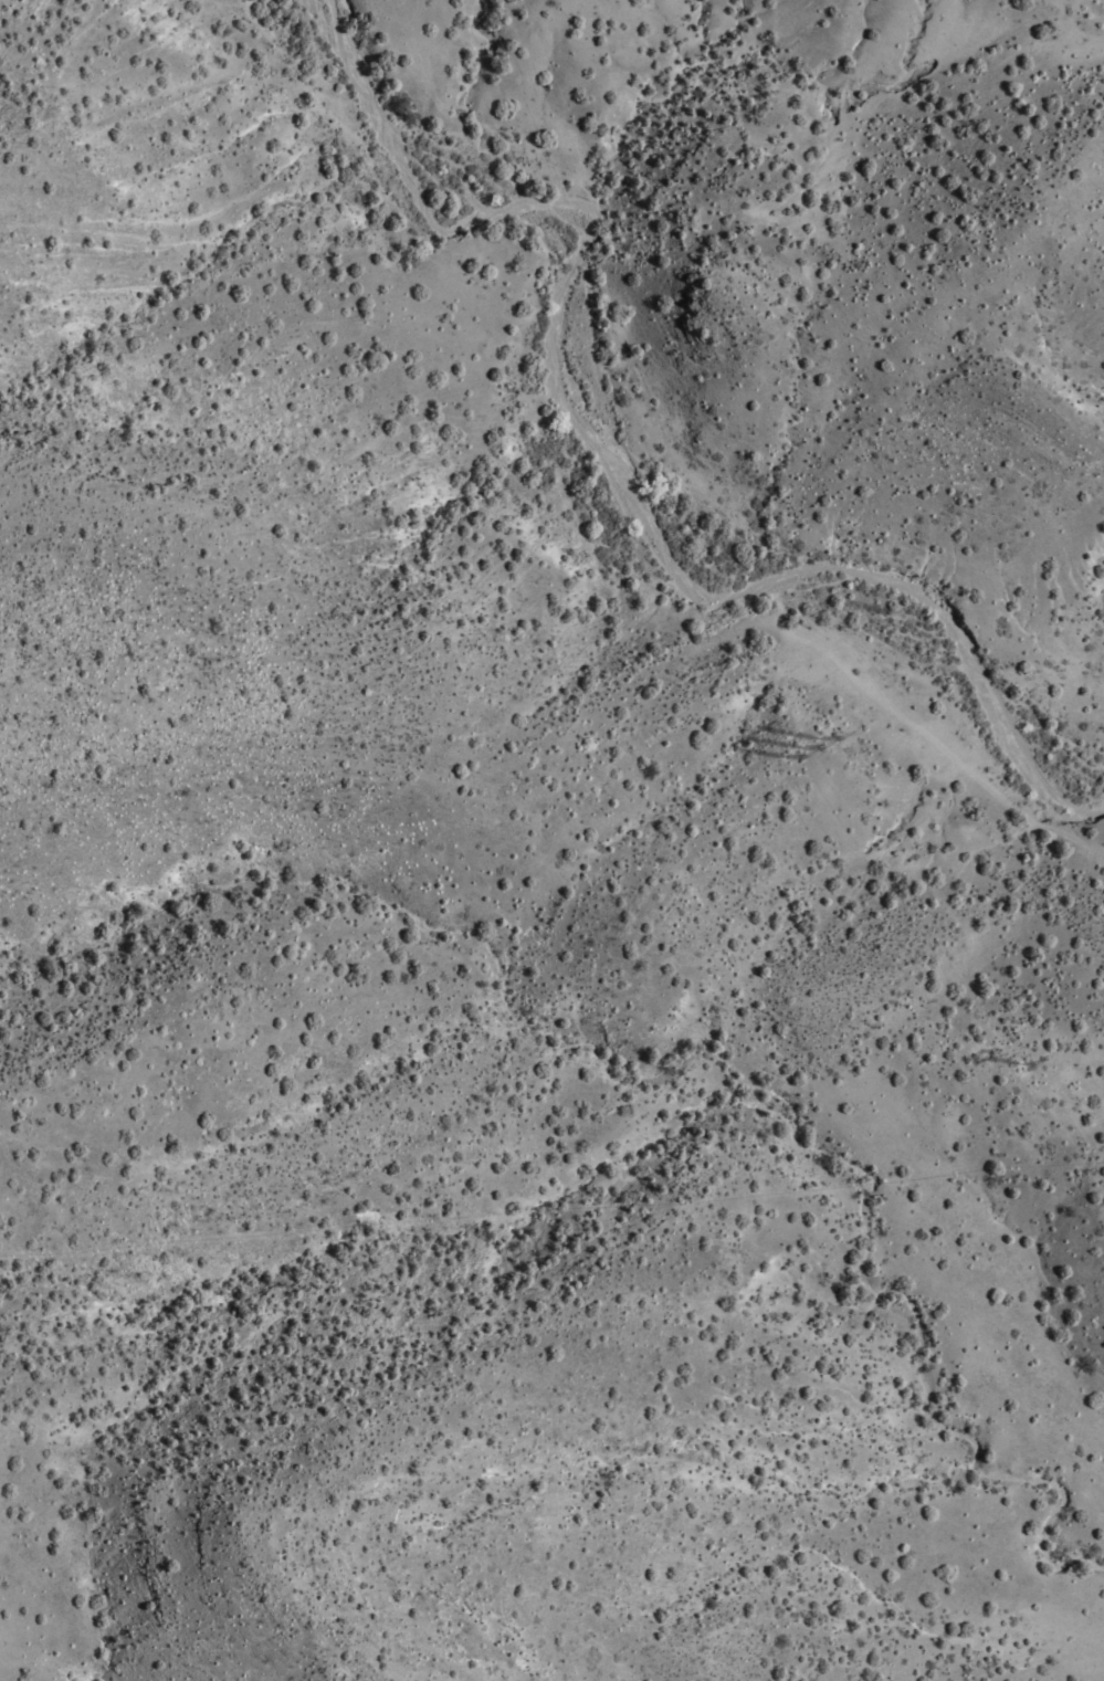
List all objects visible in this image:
power tower: (795, 752)

